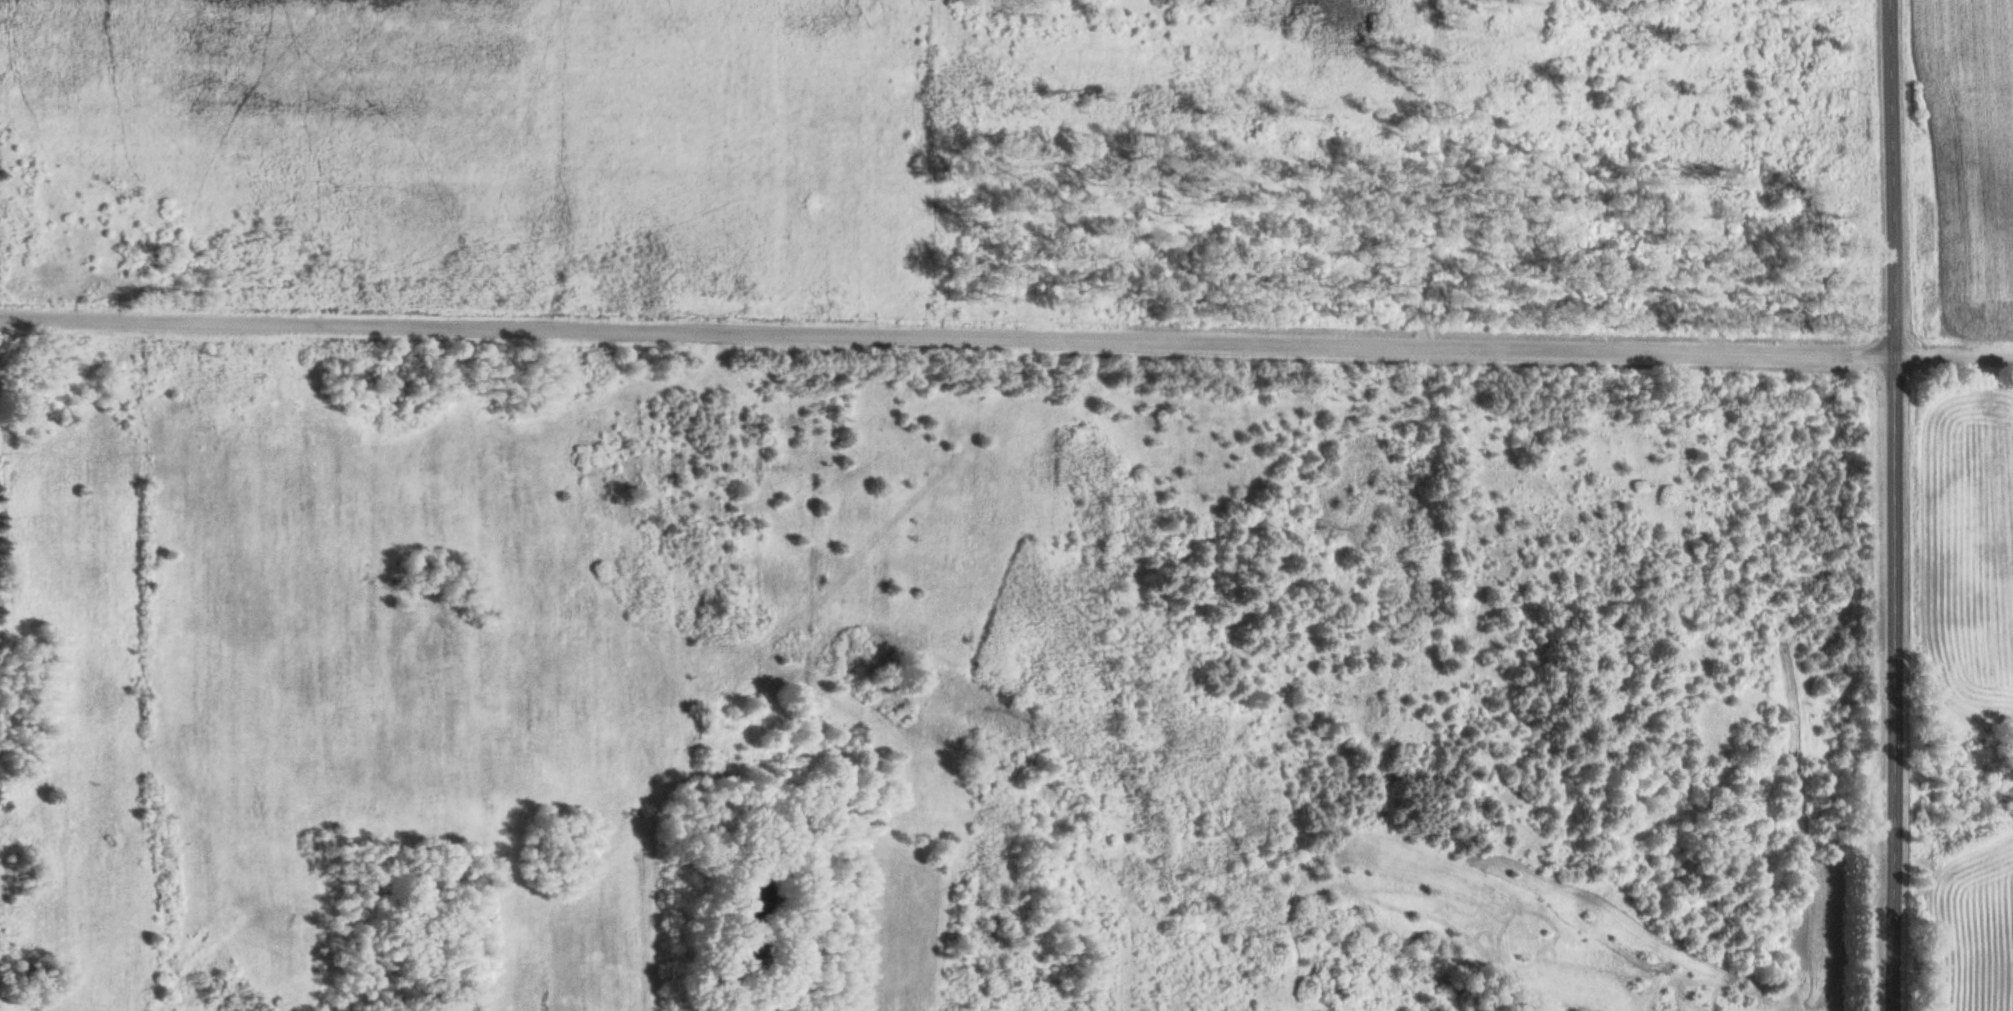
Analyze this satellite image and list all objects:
road: (1006, 338)
road: (1895, 505)

